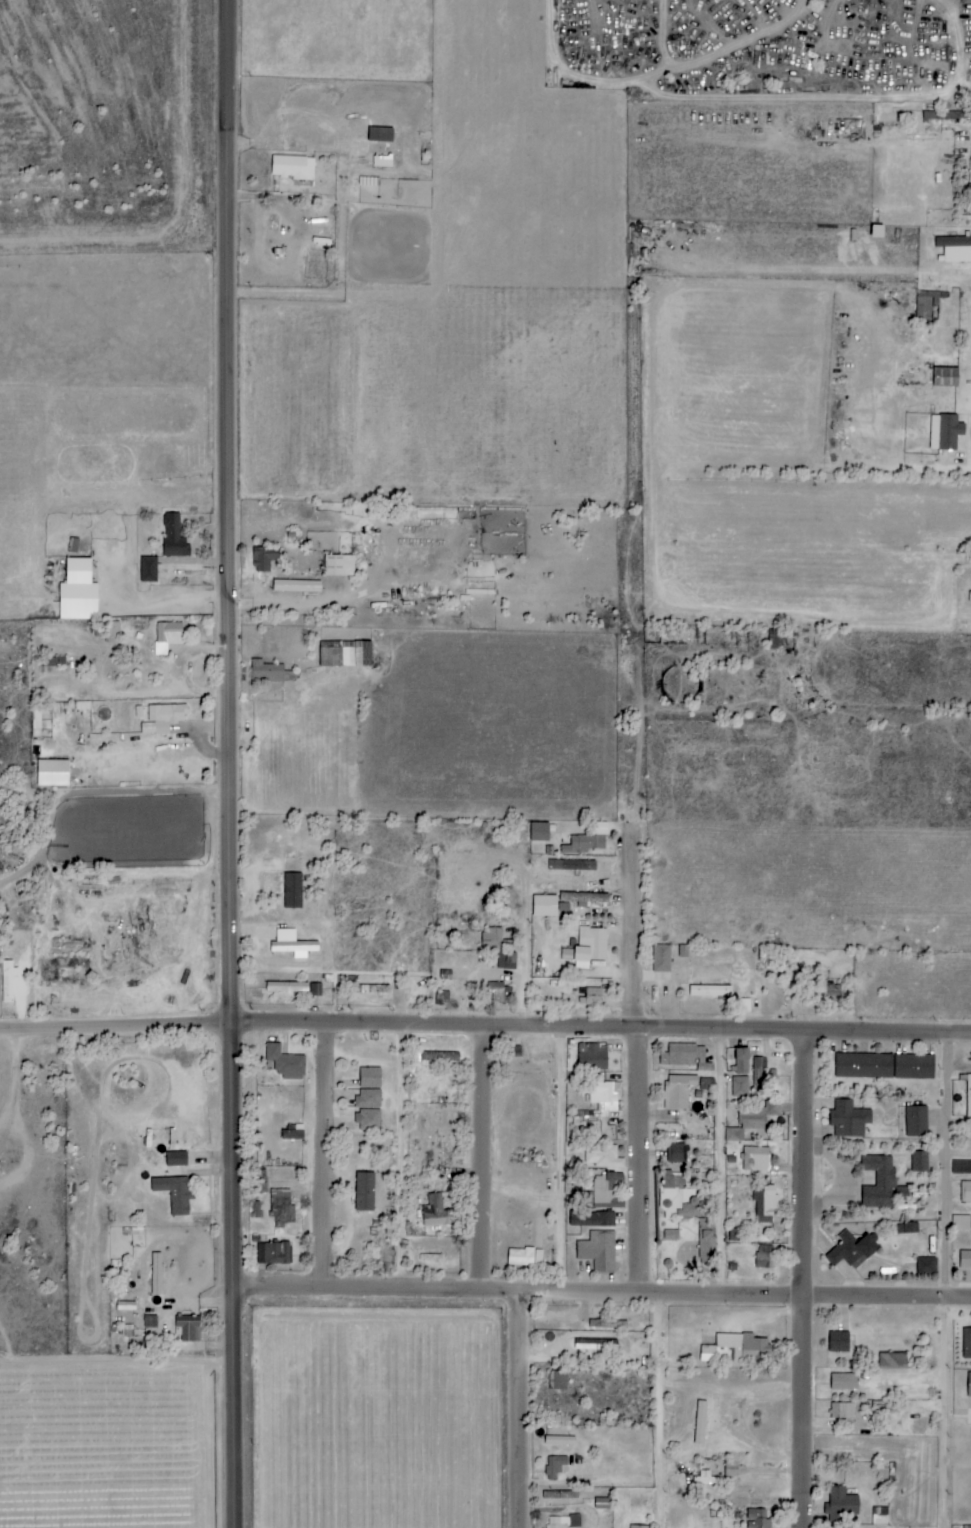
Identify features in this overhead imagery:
building: (380, 134)
building: (382, 161)
building: (292, 167)
road: (304, 201)
building: (956, 249)
building: (945, 377)
building: (945, 432)
building: (174, 537)
building: (339, 566)
building: (148, 569)
building: (296, 586)
building: (77, 592)
building: (969, 596)
road: (274, 612)
building: (111, 632)
building: (167, 636)
building: (345, 654)
building: (270, 673)
building: (163, 718)
road: (234, 764)
building: (51, 773)
building: (538, 831)
building: (587, 839)
building: (571, 865)
building: (292, 891)
building: (583, 897)
building: (544, 905)
building: (491, 938)
building: (292, 945)
building: (682, 951)
building: (661, 958)
building: (506, 960)
road: (529, 973)
building: (7, 979)
building: (286, 987)
building: (315, 990)
building: (710, 991)
building: (591, 997)
road: (119, 1027)
road: (605, 1029)
building: (440, 1056)
building: (592, 1056)
building: (685, 1057)
building: (740, 1061)
building: (285, 1062)
road: (642, 1065)
building: (884, 1066)
building: (758, 1074)
building: (369, 1077)
road: (22, 1083)
building: (707, 1085)
building: (740, 1087)
building: (678, 1091)
building: (968, 1096)
building: (367, 1110)
building: (849, 1118)
building: (751, 1120)
building: (916, 1121)
building: (968, 1139)
building: (675, 1153)
building: (605, 1157)
building: (176, 1158)
building: (755, 1159)
road: (333, 1160)
road: (407, 1160)
road: (489, 1161)
road: (568, 1162)
building: (919, 1162)
road: (729, 1166)
road: (951, 1166)
building: (961, 1167)
building: (671, 1180)
building: (883, 1184)
building: (607, 1190)
building: (364, 1192)
building: (966, 1192)
building: (174, 1193)
building: (764, 1203)
building: (281, 1206)
building: (436, 1212)
building: (597, 1219)
building: (961, 1223)
building: (907, 1227)
building: (671, 1235)
building: (706, 1243)
building: (851, 1250)
building: (598, 1251)
building: (274, 1253)
building: (764, 1257)
building: (965, 1259)
building: (926, 1265)
building: (155, 1274)
road: (811, 1281)
road: (604, 1296)
building: (610, 1324)
road: (176, 1328)
building: (188, 1328)
building: (838, 1341)
building: (966, 1343)
building: (595, 1344)
building: (722, 1349)
building: (755, 1349)
building: (893, 1362)
building: (558, 1380)
building: (843, 1382)
building: (969, 1405)
road: (527, 1411)
building: (843, 1412)
road: (944, 1412)
road: (667, 1413)
building: (700, 1423)
building: (559, 1441)
building: (554, 1466)
building: (842, 1504)
building: (879, 1515)
building: (757, 1519)
building: (563, 1522)
building: (638, 1527)

